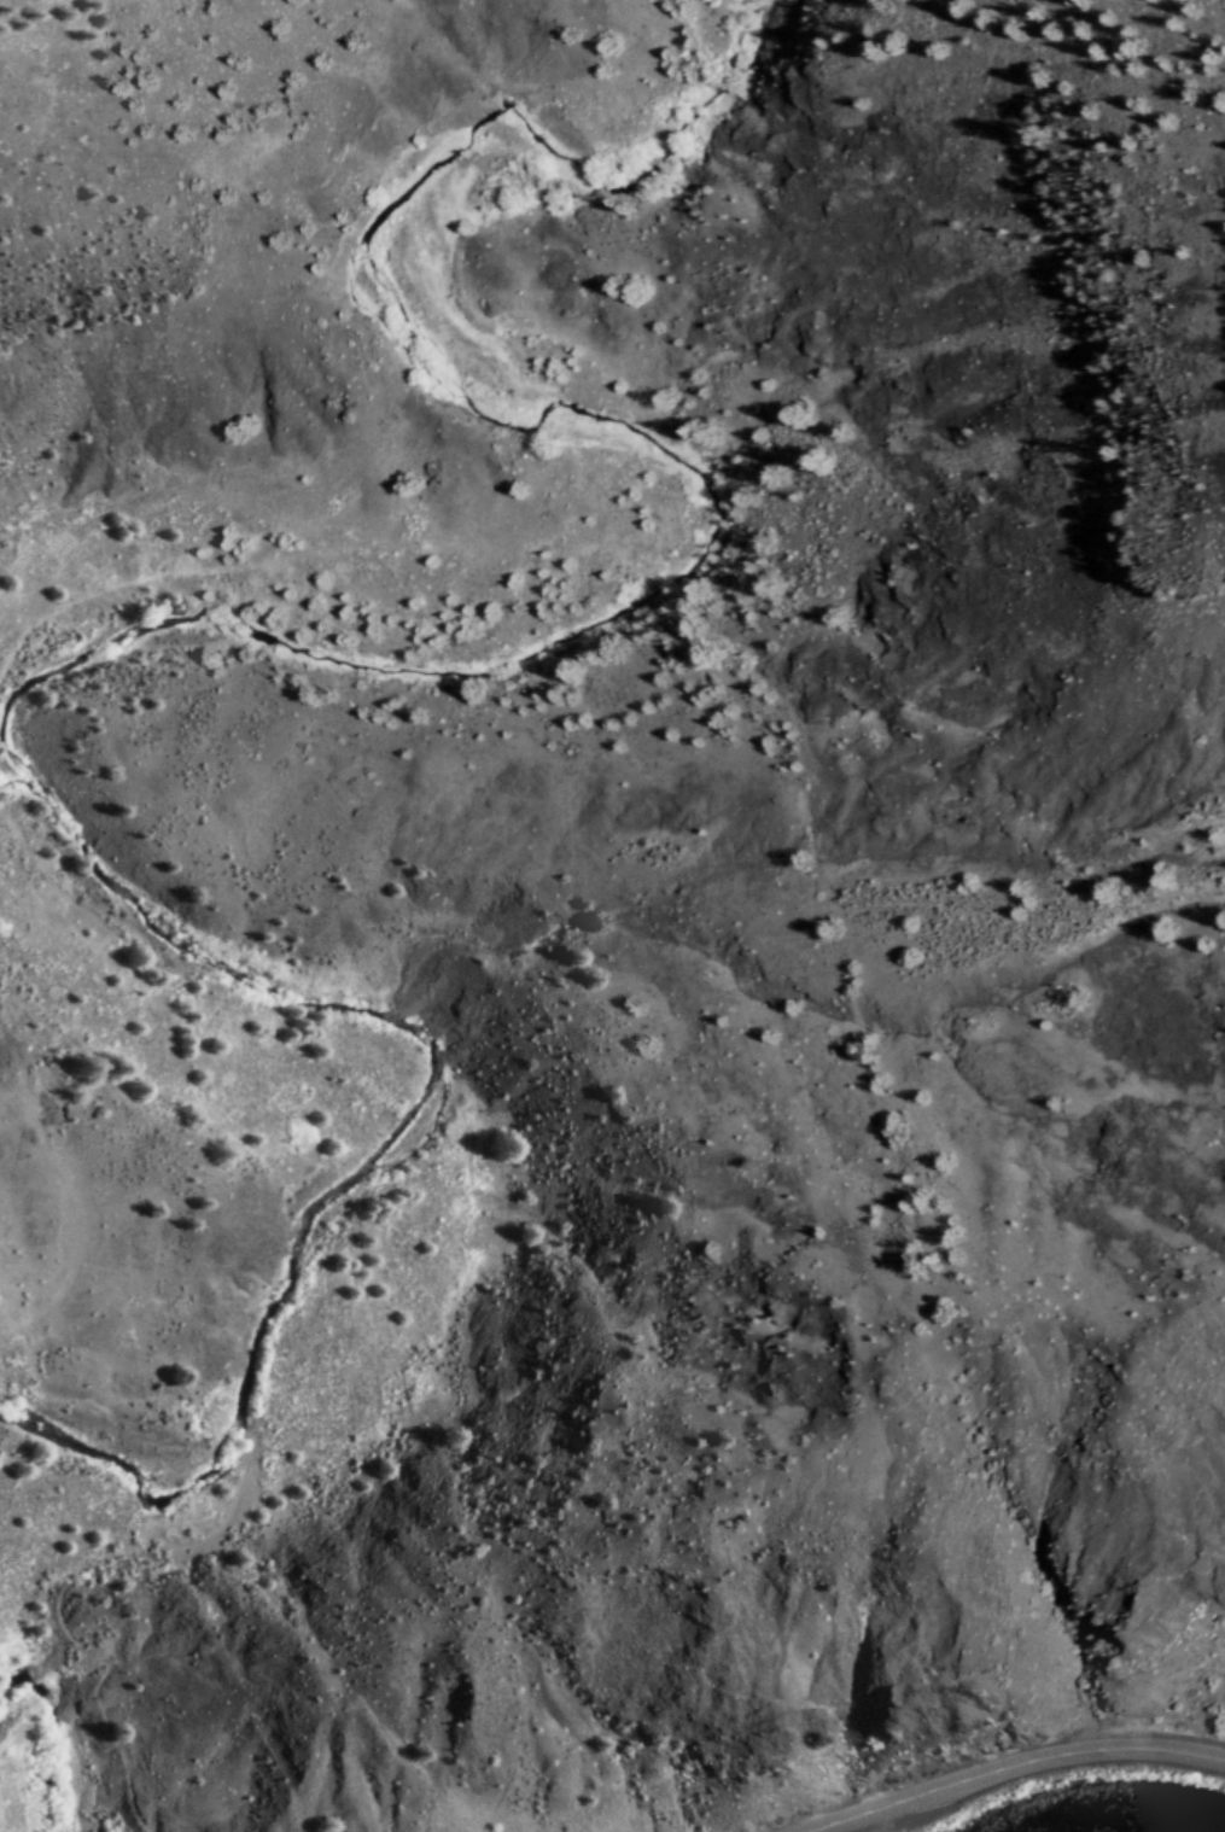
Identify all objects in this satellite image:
road: (1022, 1764)
parking lot: (900, 1830)

